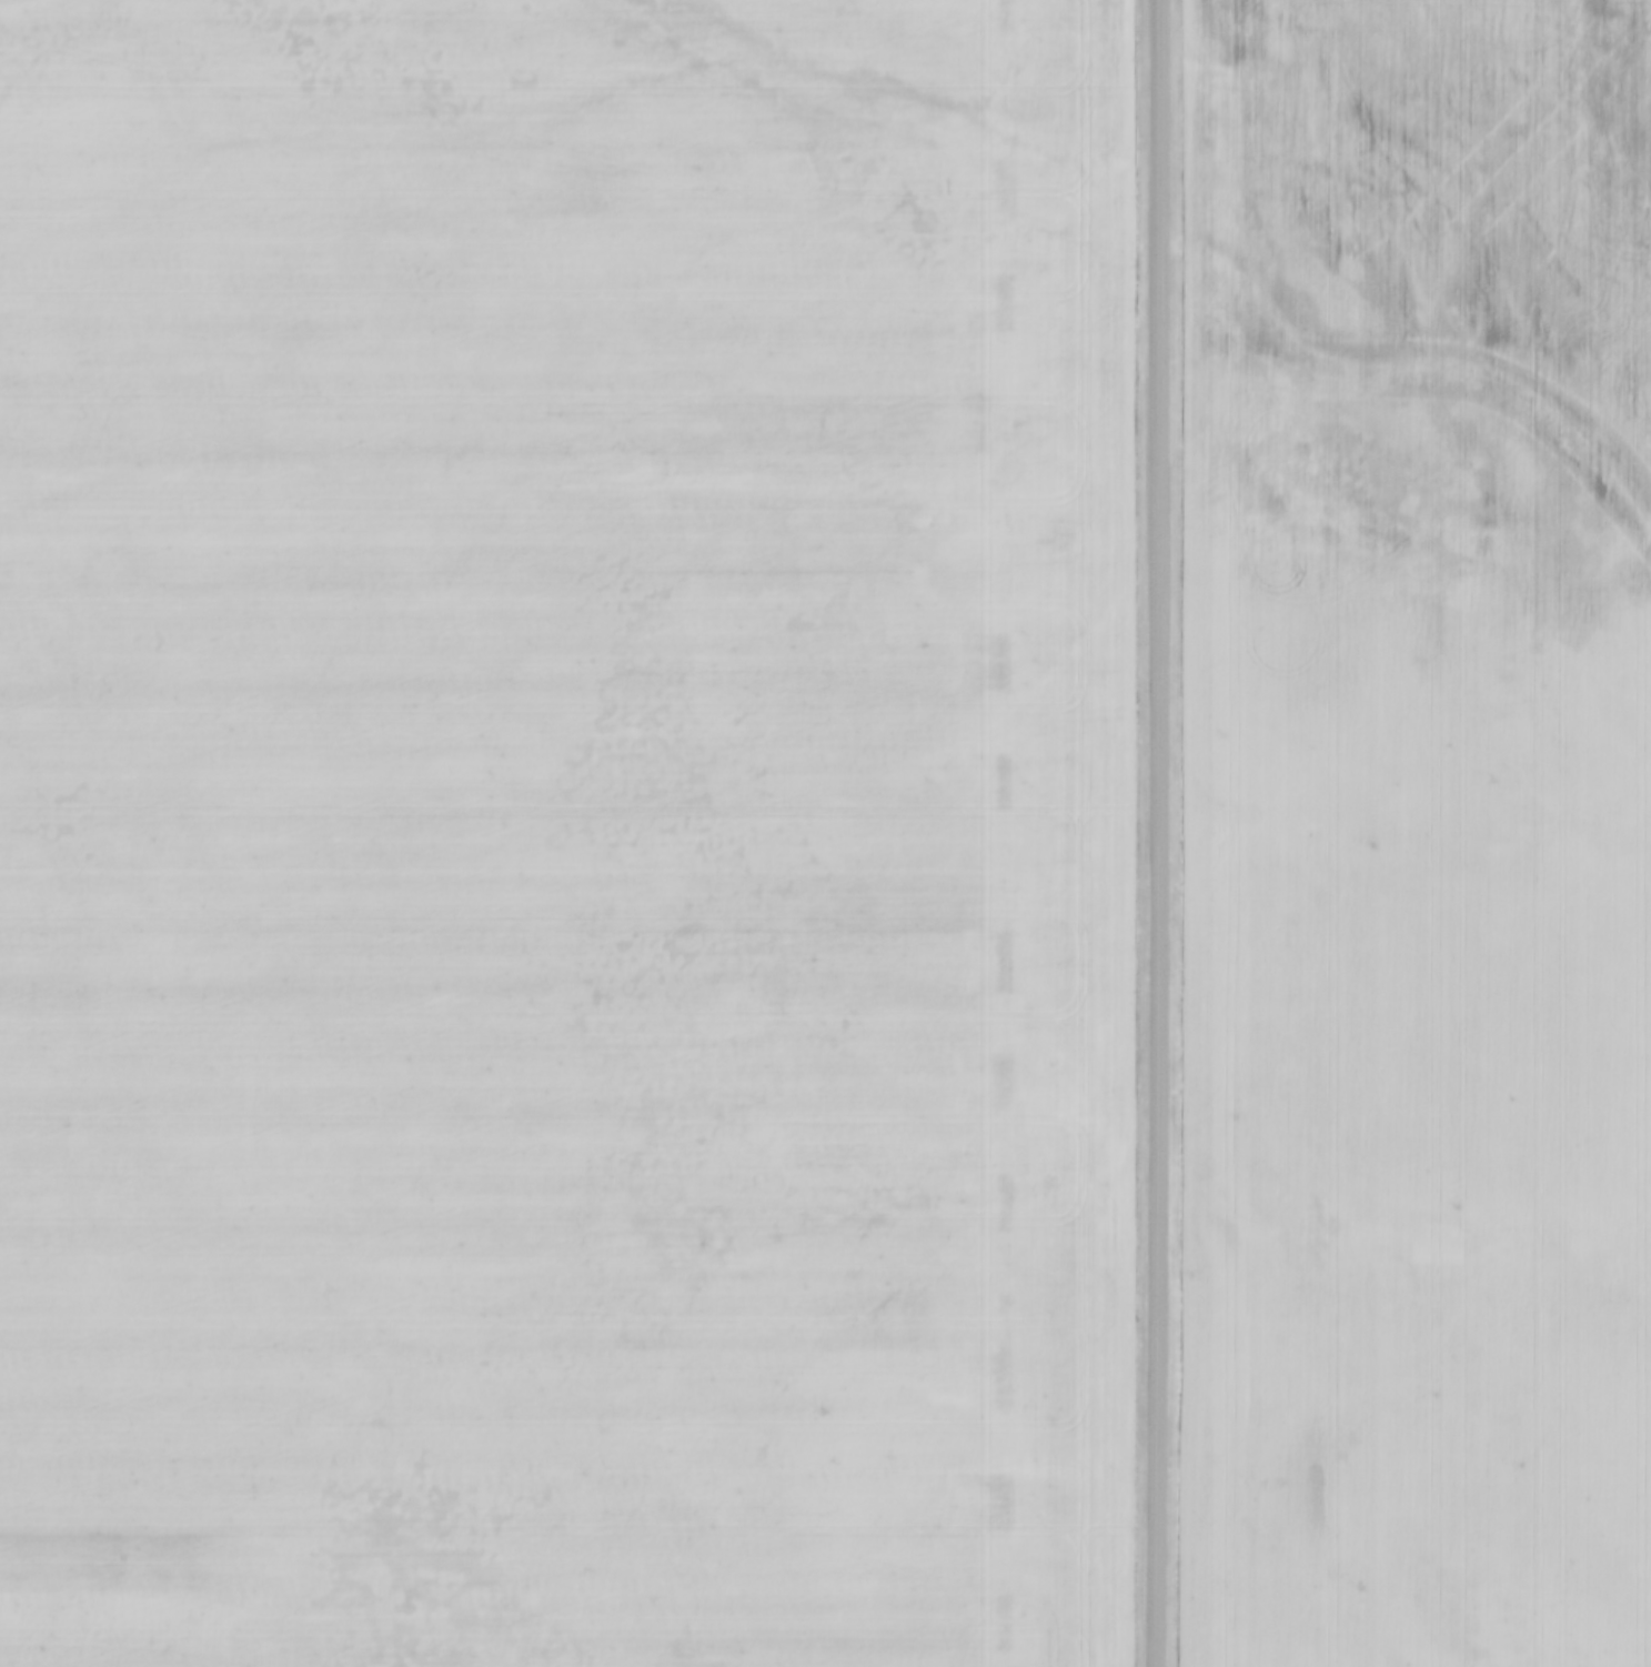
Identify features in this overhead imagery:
road: (1164, 833)

